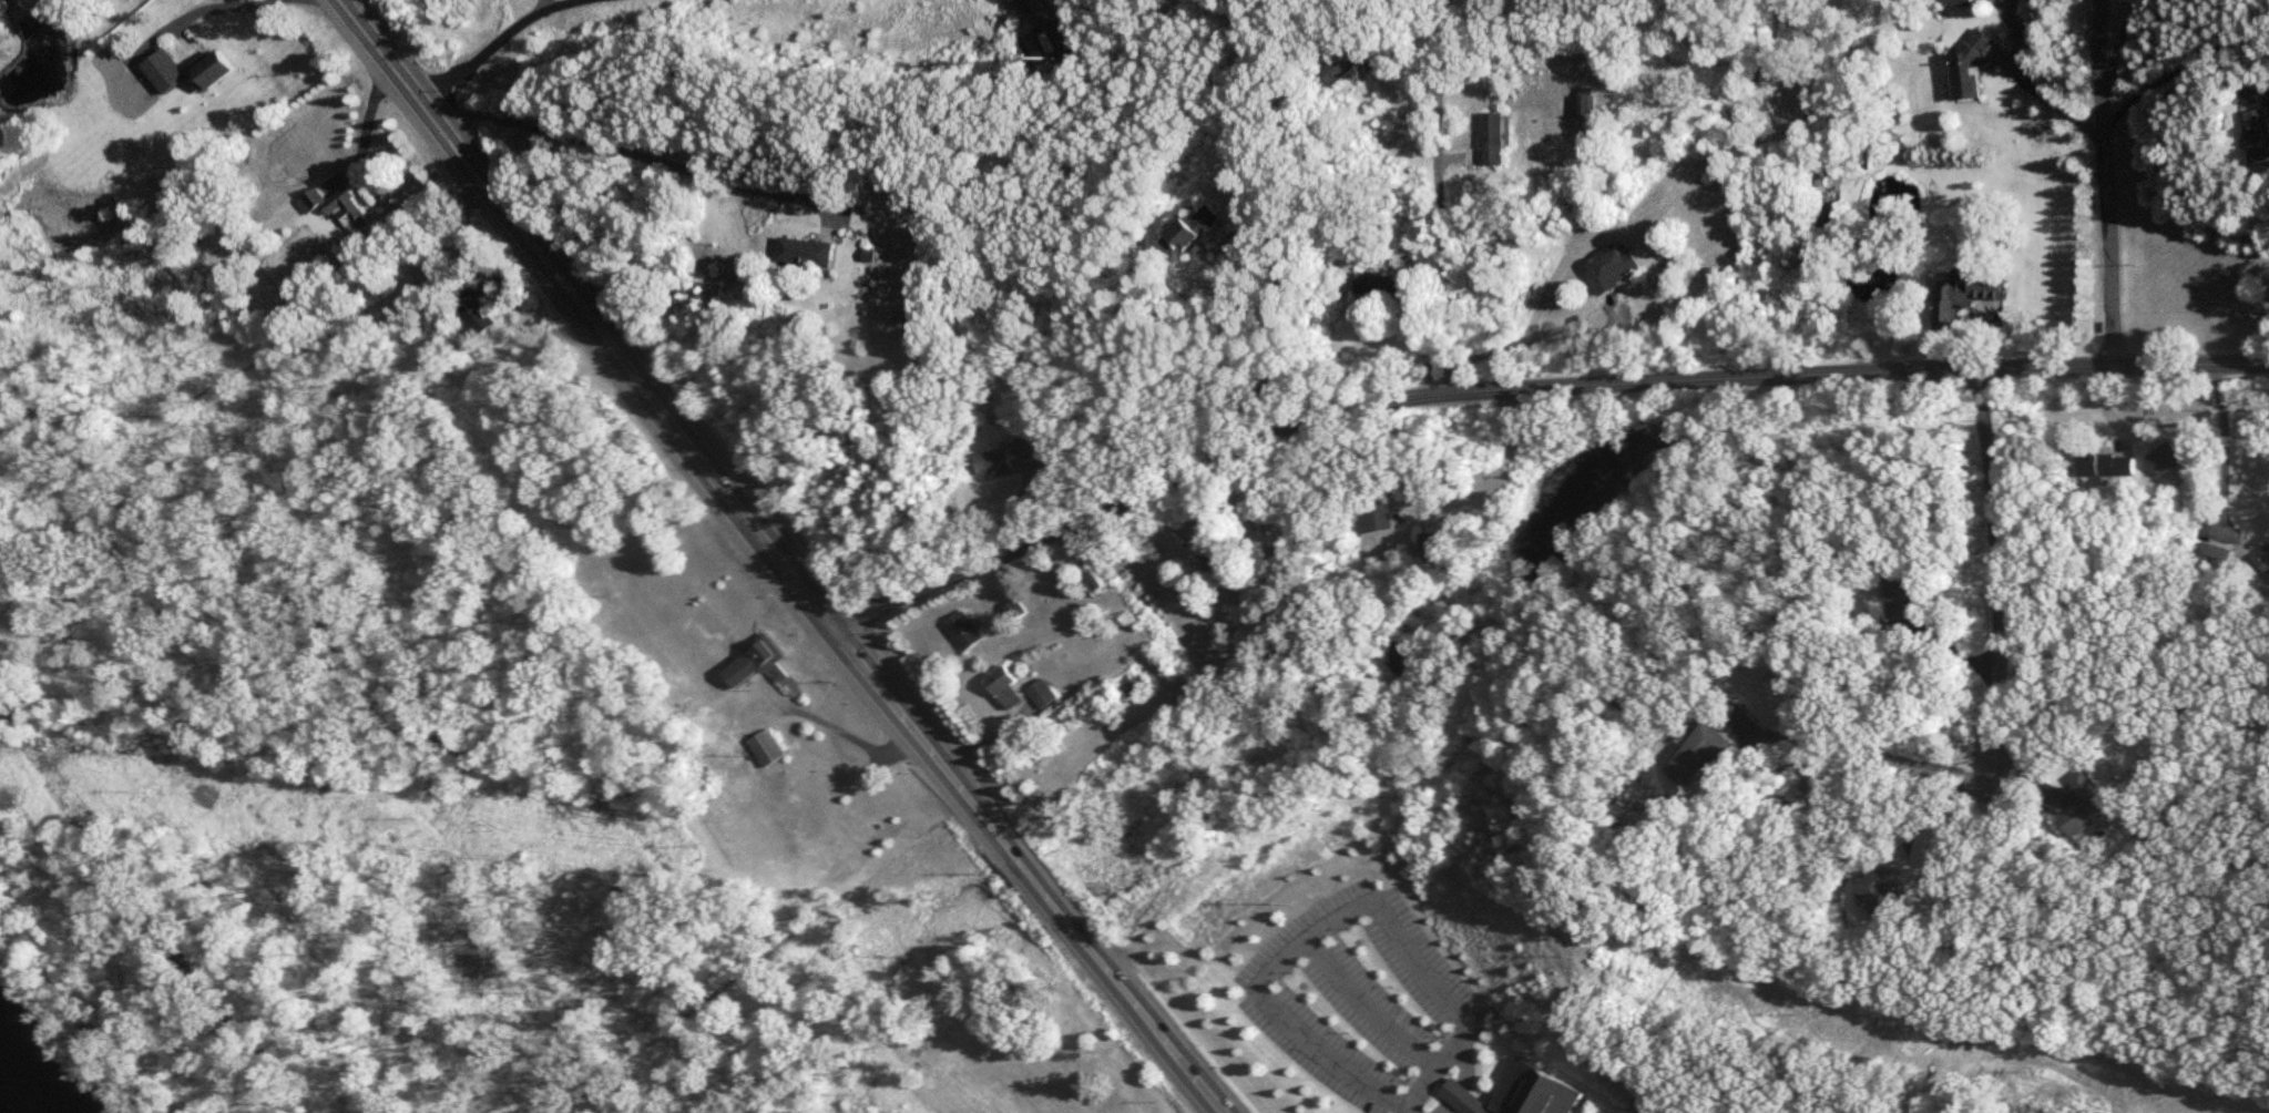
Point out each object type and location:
building: (1953, 2)
road: (214, 6)
road: (1020, 8)
building: (1052, 39)
road: (2116, 40)
road: (482, 44)
building: (1031, 47)
building: (1335, 67)
building: (214, 70)
building: (1964, 70)
building: (163, 72)
road: (2176, 79)
road: (2023, 85)
building: (1582, 106)
road: (364, 118)
building: (2253, 139)
building: (1489, 140)
road: (641, 156)
road: (2102, 183)
road: (1435, 194)
building: (336, 208)
building: (1188, 231)
building: (804, 254)
building: (870, 256)
building: (1608, 272)
building: (1320, 274)
building: (1377, 289)
building: (1961, 297)
building: (476, 313)
road: (1521, 339)
road: (1274, 348)
road: (1527, 386)
road: (2225, 443)
building: (1020, 450)
building: (2163, 459)
building: (991, 461)
building: (2104, 464)
road: (1494, 480)
building: (1367, 513)
building: (1430, 547)
road: (778, 556)
building: (2214, 556)
road: (1997, 566)
building: (1898, 595)
building: (963, 631)
road: (1950, 642)
building: (752, 661)
building: (1020, 690)
building: (766, 748)
road: (1873, 750)
building: (1687, 759)
road: (1931, 805)
building: (2082, 807)
building: (1877, 895)
road: (1316, 915)
road: (1355, 1002)
building: (1509, 1093)
road: (1401, 1110)

